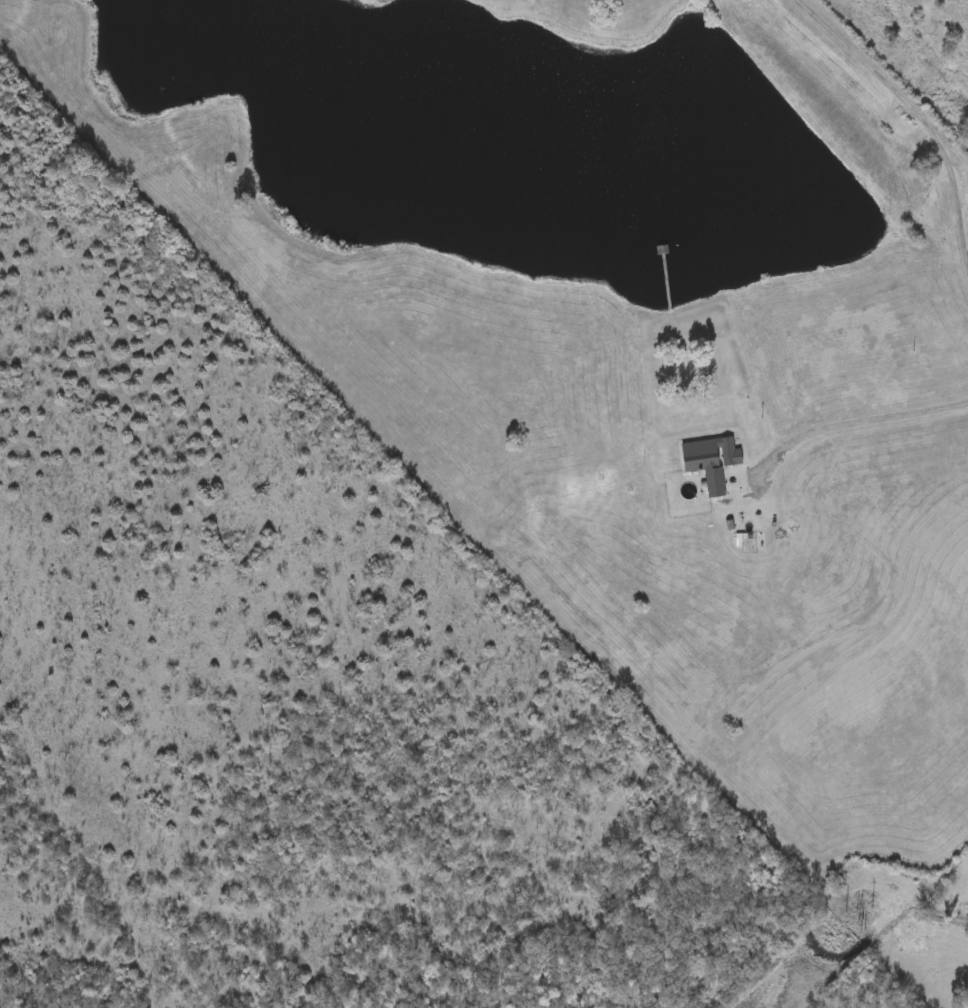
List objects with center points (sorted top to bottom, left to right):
road: (923, 115)
pier: (665, 280)
building: (684, 418)
road: (767, 458)
power tower: (861, 929)

